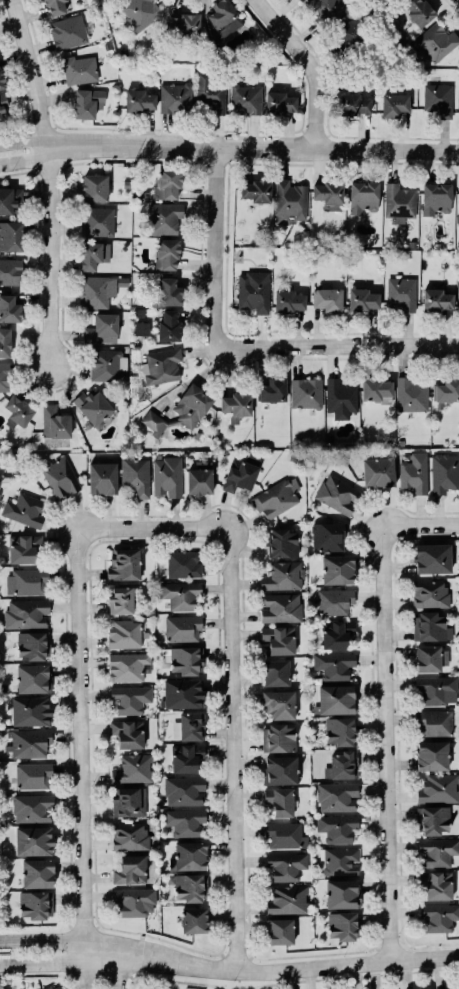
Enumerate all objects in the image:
building: (394, 0)
building: (299, 1)
building: (55, 7)
building: (327, 11)
building: (418, 11)
building: (140, 12)
building: (222, 18)
building: (185, 24)
building: (68, 32)
building: (352, 32)
building: (435, 42)
road: (314, 64)
building: (80, 69)
building: (1, 82)
building: (210, 94)
building: (175, 97)
building: (246, 99)
building: (438, 99)
building: (140, 101)
building: (88, 103)
building: (280, 103)
building: (394, 104)
building: (2, 105)
building: (353, 105)
road: (229, 147)
road: (56, 181)
building: (168, 184)
building: (94, 188)
building: (256, 190)
building: (328, 192)
building: (458, 193)
building: (363, 196)
building: (436, 198)
building: (9, 199)
building: (290, 199)
building: (399, 202)
building: (332, 207)
building: (164, 218)
building: (97, 221)
building: (11, 235)
road: (221, 244)
building: (167, 253)
building: (94, 254)
building: (10, 271)
building: (96, 291)
building: (168, 292)
building: (253, 292)
building: (401, 294)
building: (328, 299)
building: (362, 299)
building: (437, 300)
building: (289, 301)
building: (9, 309)
building: (168, 326)
building: (142, 328)
building: (102, 329)
road: (341, 341)
building: (5, 342)
building: (106, 364)
building: (161, 366)
building: (4, 377)
building: (376, 389)
building: (272, 390)
building: (447, 390)
building: (306, 392)
building: (411, 394)
building: (340, 398)
building: (236, 404)
building: (192, 406)
building: (96, 408)
building: (18, 412)
building: (55, 422)
building: (153, 422)
building: (378, 472)
building: (444, 472)
building: (240, 473)
building: (414, 473)
building: (136, 476)
building: (167, 476)
building: (60, 477)
building: (102, 478)
building: (200, 478)
building: (337, 495)
building: (277, 497)
building: (25, 510)
road: (157, 522)
road: (423, 522)
building: (327, 536)
building: (283, 543)
building: (24, 548)
building: (432, 558)
building: (183, 563)
building: (124, 564)
building: (337, 569)
building: (283, 576)
building: (28, 581)
building: (430, 593)
building: (180, 594)
building: (120, 600)
building: (334, 601)
building: (281, 608)
building: (28, 613)
building: (431, 627)
building: (183, 628)
building: (337, 633)
building: (125, 634)
building: (279, 639)
building: (32, 645)
building: (431, 658)
building: (185, 660)
building: (334, 665)
building: (128, 666)
building: (276, 672)
building: (33, 678)
building: (436, 690)
building: (183, 694)
building: (130, 698)
building: (336, 699)
building: (279, 704)
building: (30, 711)
building: (434, 723)
building: (188, 726)
building: (340, 731)
building: (128, 733)
building: (279, 737)
road: (390, 741)
building: (30, 743)
road: (237, 744)
road: (83, 746)
building: (432, 755)
building: (187, 758)
building: (342, 765)
building: (133, 769)
building: (280, 770)
building: (33, 775)
building: (439, 788)
building: (184, 790)
building: (337, 796)
building: (128, 801)
building: (280, 801)
building: (32, 808)
building: (432, 820)
building: (184, 821)
building: (337, 828)
building: (285, 835)
building: (130, 836)
building: (33, 841)
building: (437, 851)
building: (189, 856)
building: (341, 861)
building: (286, 866)
building: (131, 870)
building: (37, 873)
building: (436, 885)
building: (189, 887)
building: (342, 893)
building: (288, 900)
building: (136, 901)
building: (33, 905)
building: (439, 916)
building: (194, 920)
building: (342, 926)
building: (280, 931)
road: (73, 941)
road: (301, 968)
road: (73, 970)
building: (51, 987)

